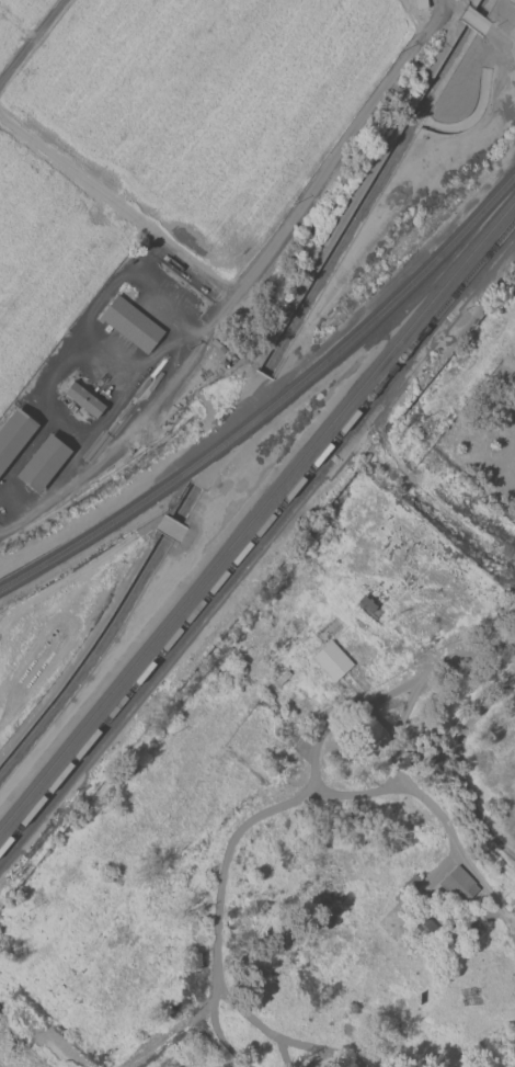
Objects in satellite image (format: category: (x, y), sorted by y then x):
road: (32, 41)
railway: (468, 223)
railway: (483, 235)
railway: (490, 250)
crop: (198, 279)
road: (242, 284)
building: (130, 323)
building: (84, 399)
building: (14, 435)
railway: (221, 447)
building: (43, 464)
railway: (225, 550)
railway: (231, 566)
building: (366, 603)
building: (332, 661)
road: (340, 716)
road: (459, 764)
road: (283, 806)
road: (456, 847)
building: (410, 883)
building: (459, 885)
building: (428, 926)
road: (247, 1017)
road: (325, 1049)
road: (57, 1053)
road: (284, 1056)
road: (48, 1059)

